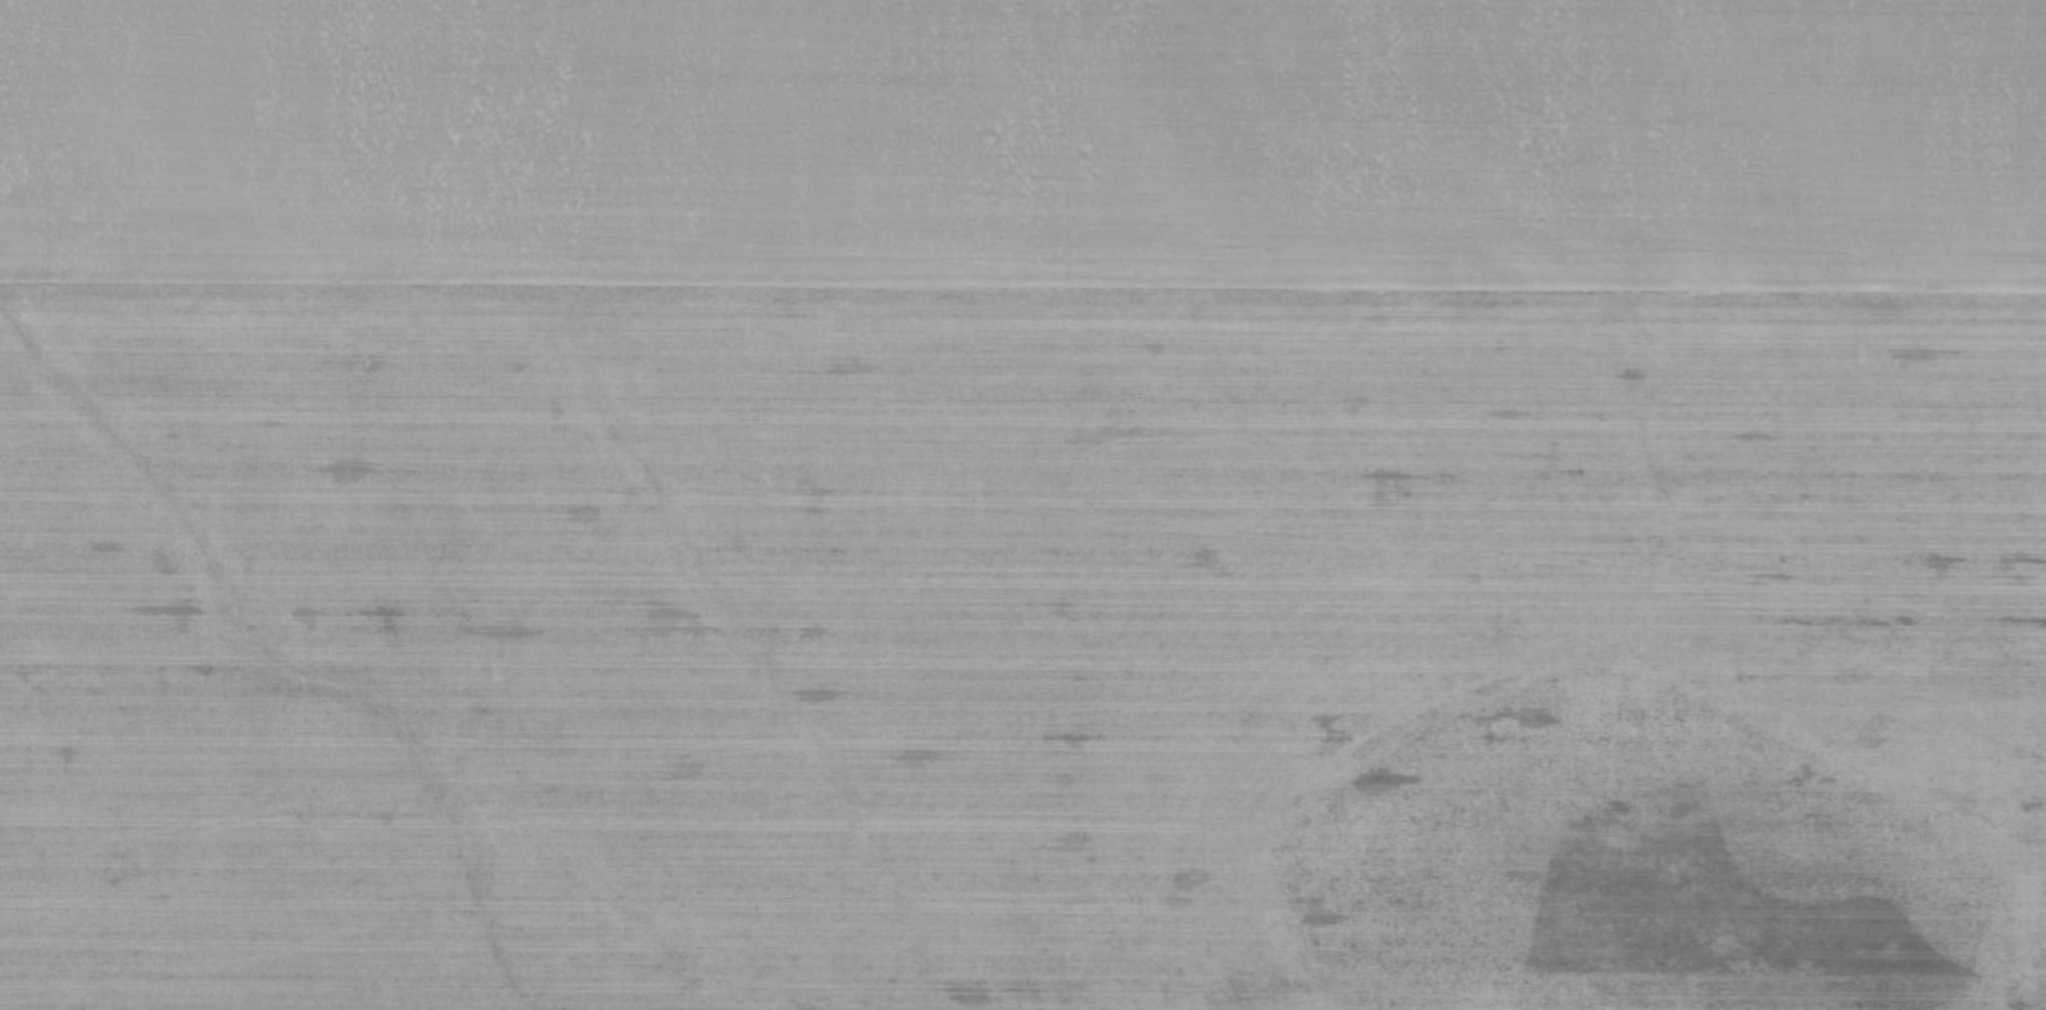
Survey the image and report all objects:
crop: (1023, 505)

